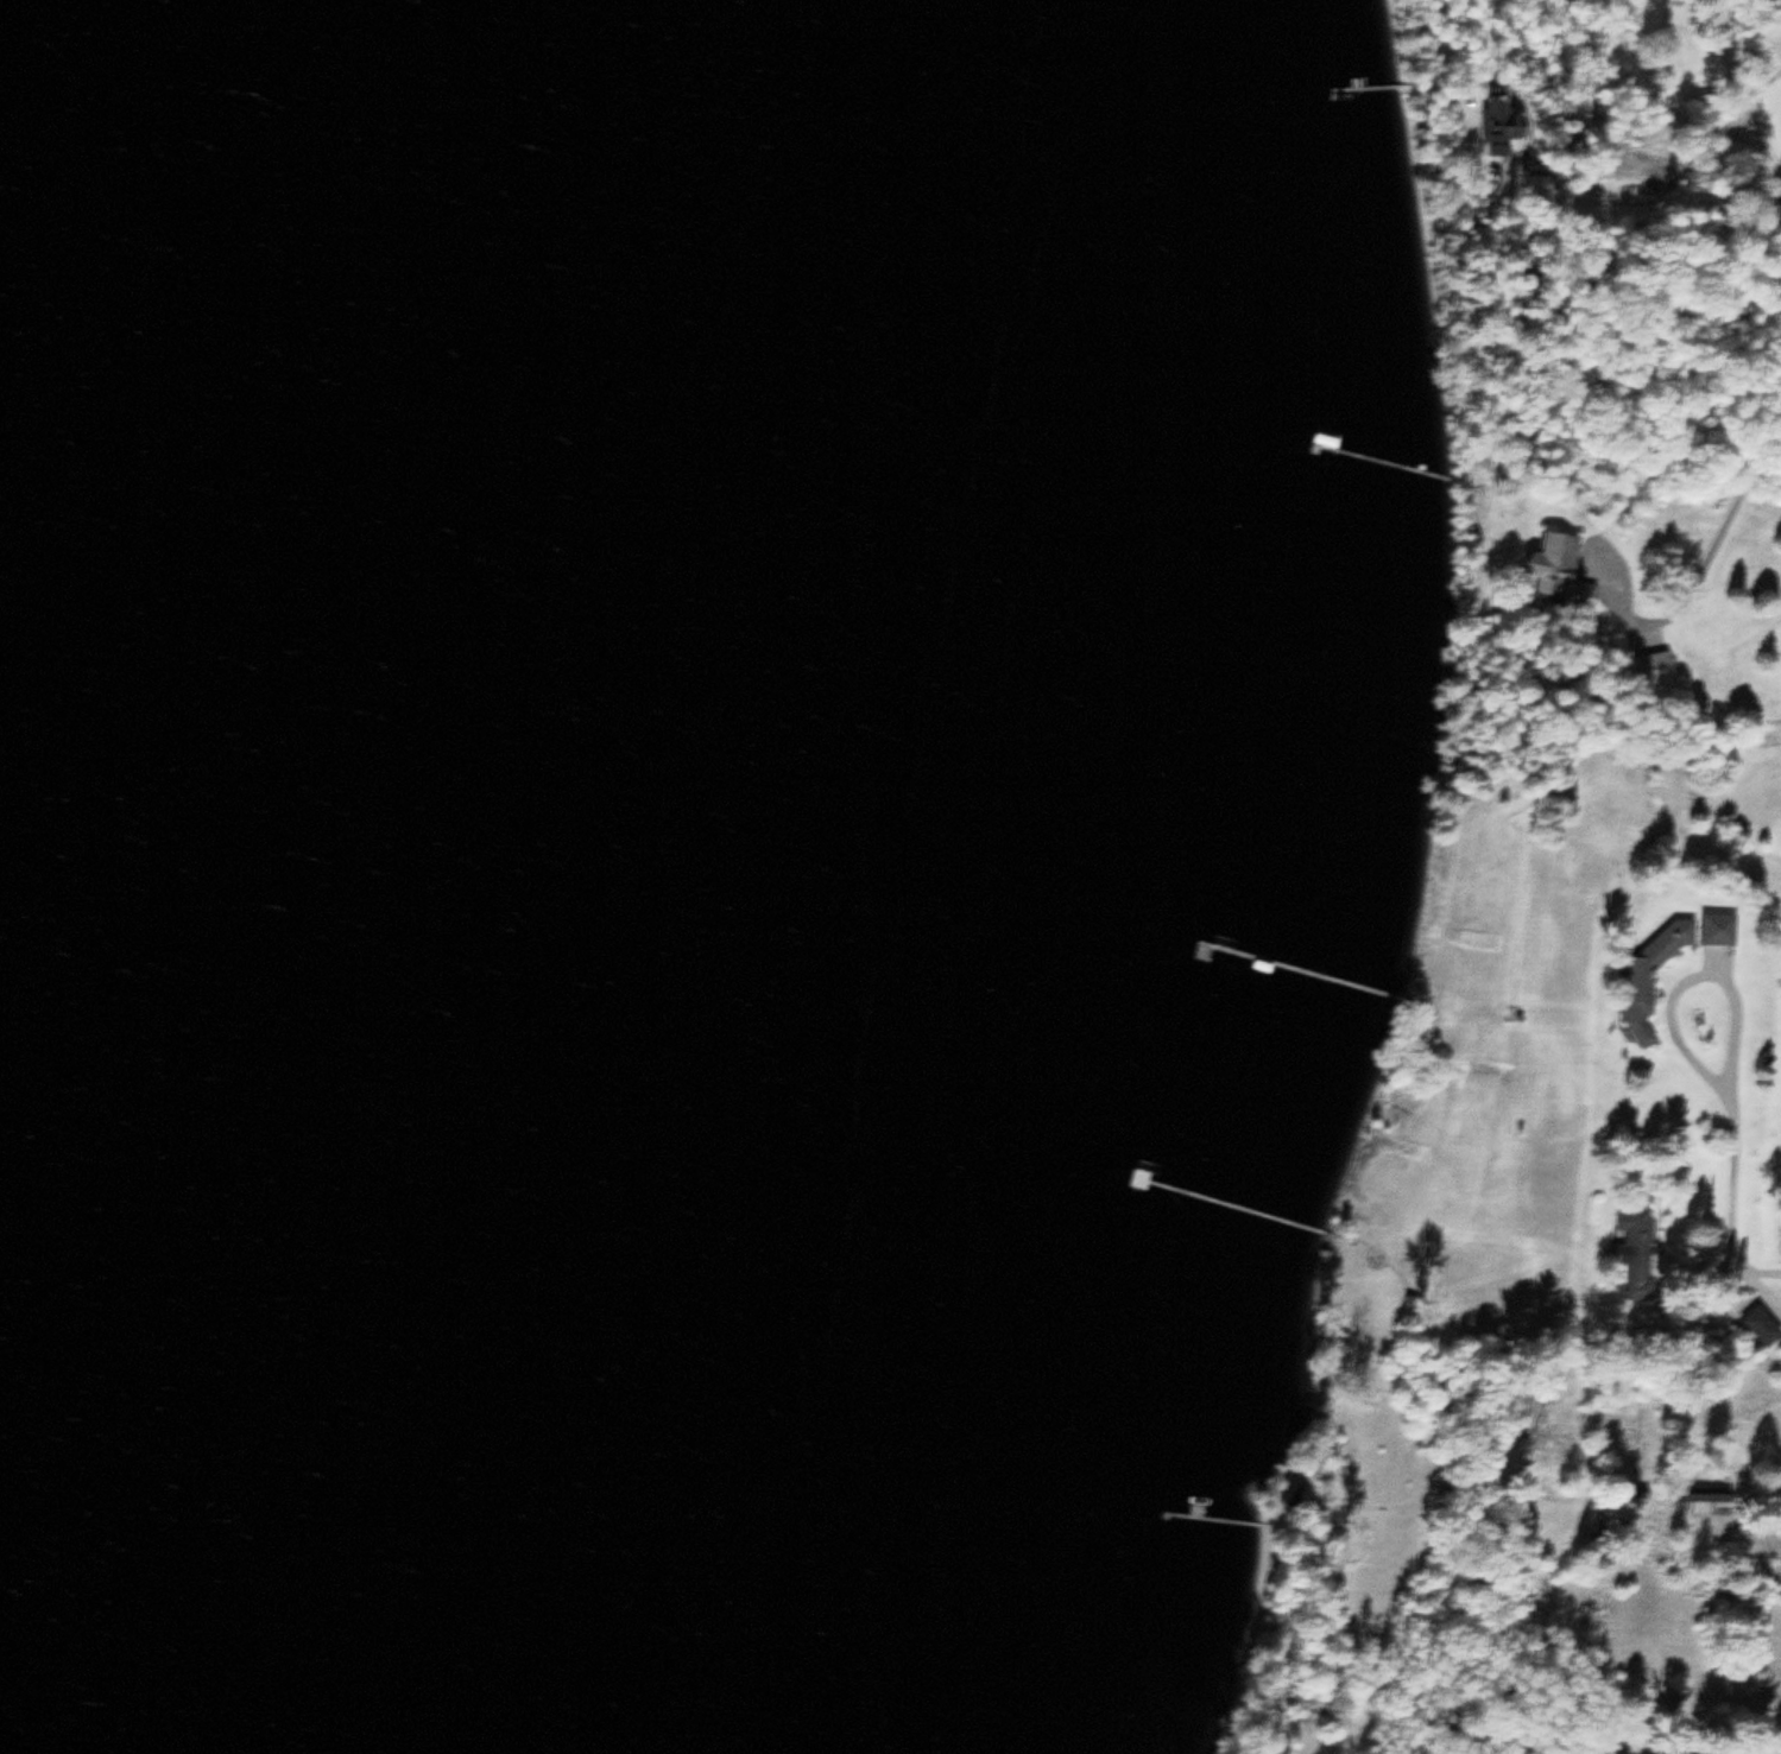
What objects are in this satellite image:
road: (1726, 74)
road: (1634, 84)
building: (1762, 124)
road: (1749, 165)
road: (1768, 184)
building: (1559, 568)
road: (1688, 582)
building: (1651, 667)
building: (1716, 929)
building: (1647, 976)
building: (618, 986)
road: (1731, 1026)
building: (1635, 1250)
road: (1712, 1265)
road: (1756, 1286)
building: (1762, 1331)
road: (1774, 1364)
building: (1707, 1493)
building: (283, 1750)

